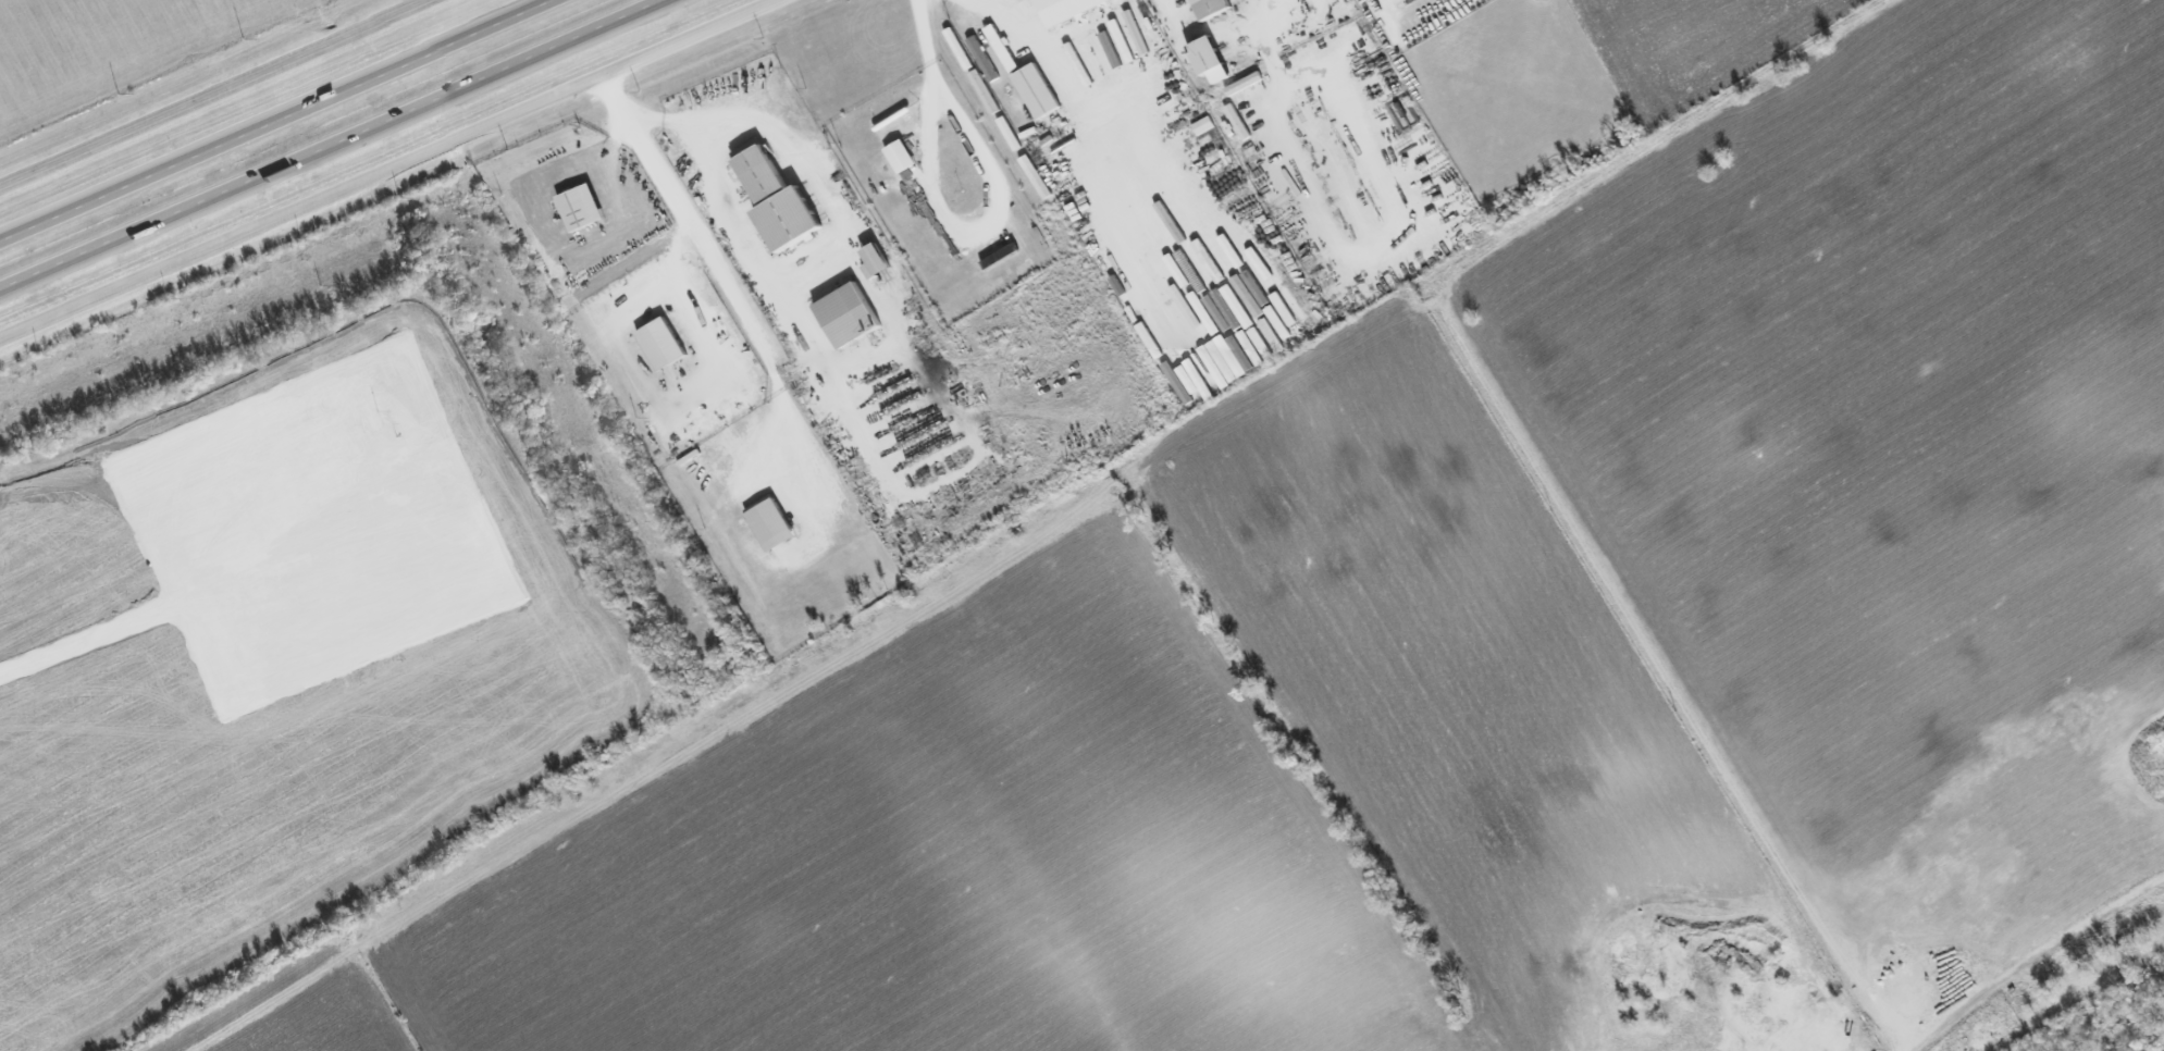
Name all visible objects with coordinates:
road: (1374, 2)
building: (1217, 5)
building: (1067, 8)
building: (1124, 25)
road: (924, 41)
building: (1003, 48)
building: (1216, 53)
building: (1096, 60)
building: (1081, 70)
building: (1247, 79)
building: (1040, 90)
road: (218, 95)
road: (320, 106)
road: (416, 112)
road: (1088, 119)
building: (1240, 119)
building: (1204, 125)
road: (1294, 125)
building: (905, 152)
road: (394, 170)
building: (782, 194)
building: (584, 203)
road: (972, 222)
road: (38, 226)
road: (38, 227)
building: (1222, 249)
building: (880, 258)
road: (78, 259)
road: (78, 261)
building: (871, 271)
road: (718, 275)
building: (1226, 276)
road: (797, 277)
building: (1286, 302)
building: (853, 308)
building: (1202, 320)
building: (667, 338)
road: (696, 384)
crop: (1876, 418)
building: (775, 520)
crop: (1147, 780)
road: (2033, 955)
crop: (311, 1014)

